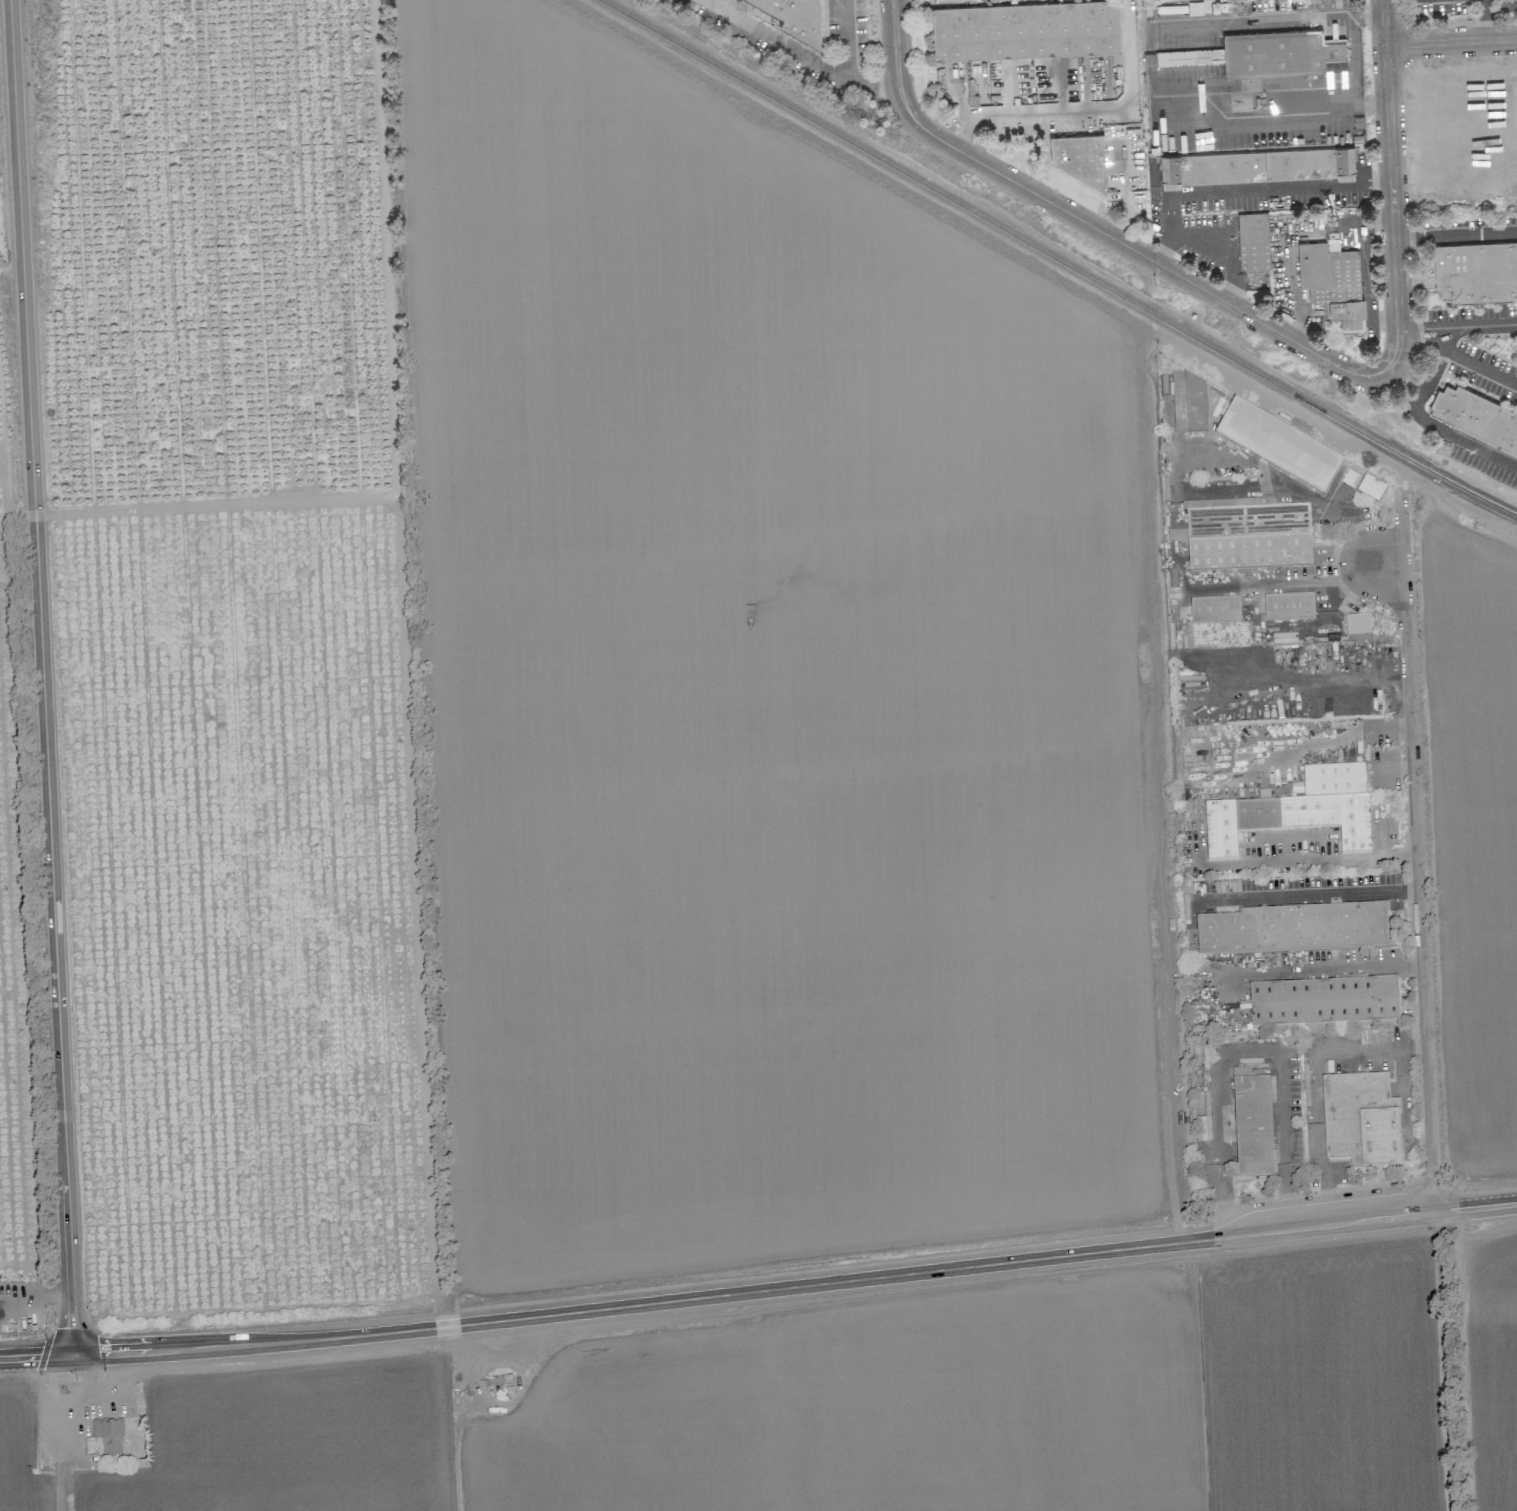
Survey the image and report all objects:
building: (795, 17)
road: (1257, 18)
road: (894, 29)
building: (1026, 30)
road: (843, 38)
road: (1451, 42)
road: (1358, 51)
road: (802, 52)
building: (1264, 53)
road: (897, 74)
road: (963, 97)
road: (1076, 113)
road: (1274, 124)
road: (966, 135)
building: (1077, 156)
road: (1391, 183)
road: (1248, 191)
railway: (1002, 229)
road: (1455, 237)
building: (1253, 241)
road: (1136, 251)
road: (1223, 256)
road: (1368, 271)
building: (1476, 272)
building: (1333, 283)
road: (1303, 317)
road: (1432, 328)
road: (1483, 329)
road: (1410, 331)
road: (1447, 331)
road: (1433, 339)
road: (1480, 366)
building: (1189, 405)
building: (1475, 421)
road: (1427, 422)
building: (1278, 447)
railway: (1461, 487)
road: (1326, 503)
building: (1176, 535)
building: (1247, 535)
road: (1345, 576)
road: (1252, 585)
road: (1346, 596)
building: (1289, 607)
building: (1215, 610)
building: (1358, 625)
road: (1279, 628)
road: (42, 677)
road: (1370, 724)
building: (1297, 811)
crop: (632, 829)
road: (1325, 861)
road: (1419, 882)
road: (1309, 896)
building: (1294, 929)
fountain: (1408, 984)
building: (1324, 1002)
road: (1348, 1049)
road: (1244, 1055)
road: (1408, 1104)
building: (1361, 1120)
building: (1252, 1124)
road: (1317, 1140)
road: (758, 1287)
road: (32, 1297)
traffic signals: (72, 1356)
road: (1443, 1364)
road: (66, 1430)
building: (108, 1435)

